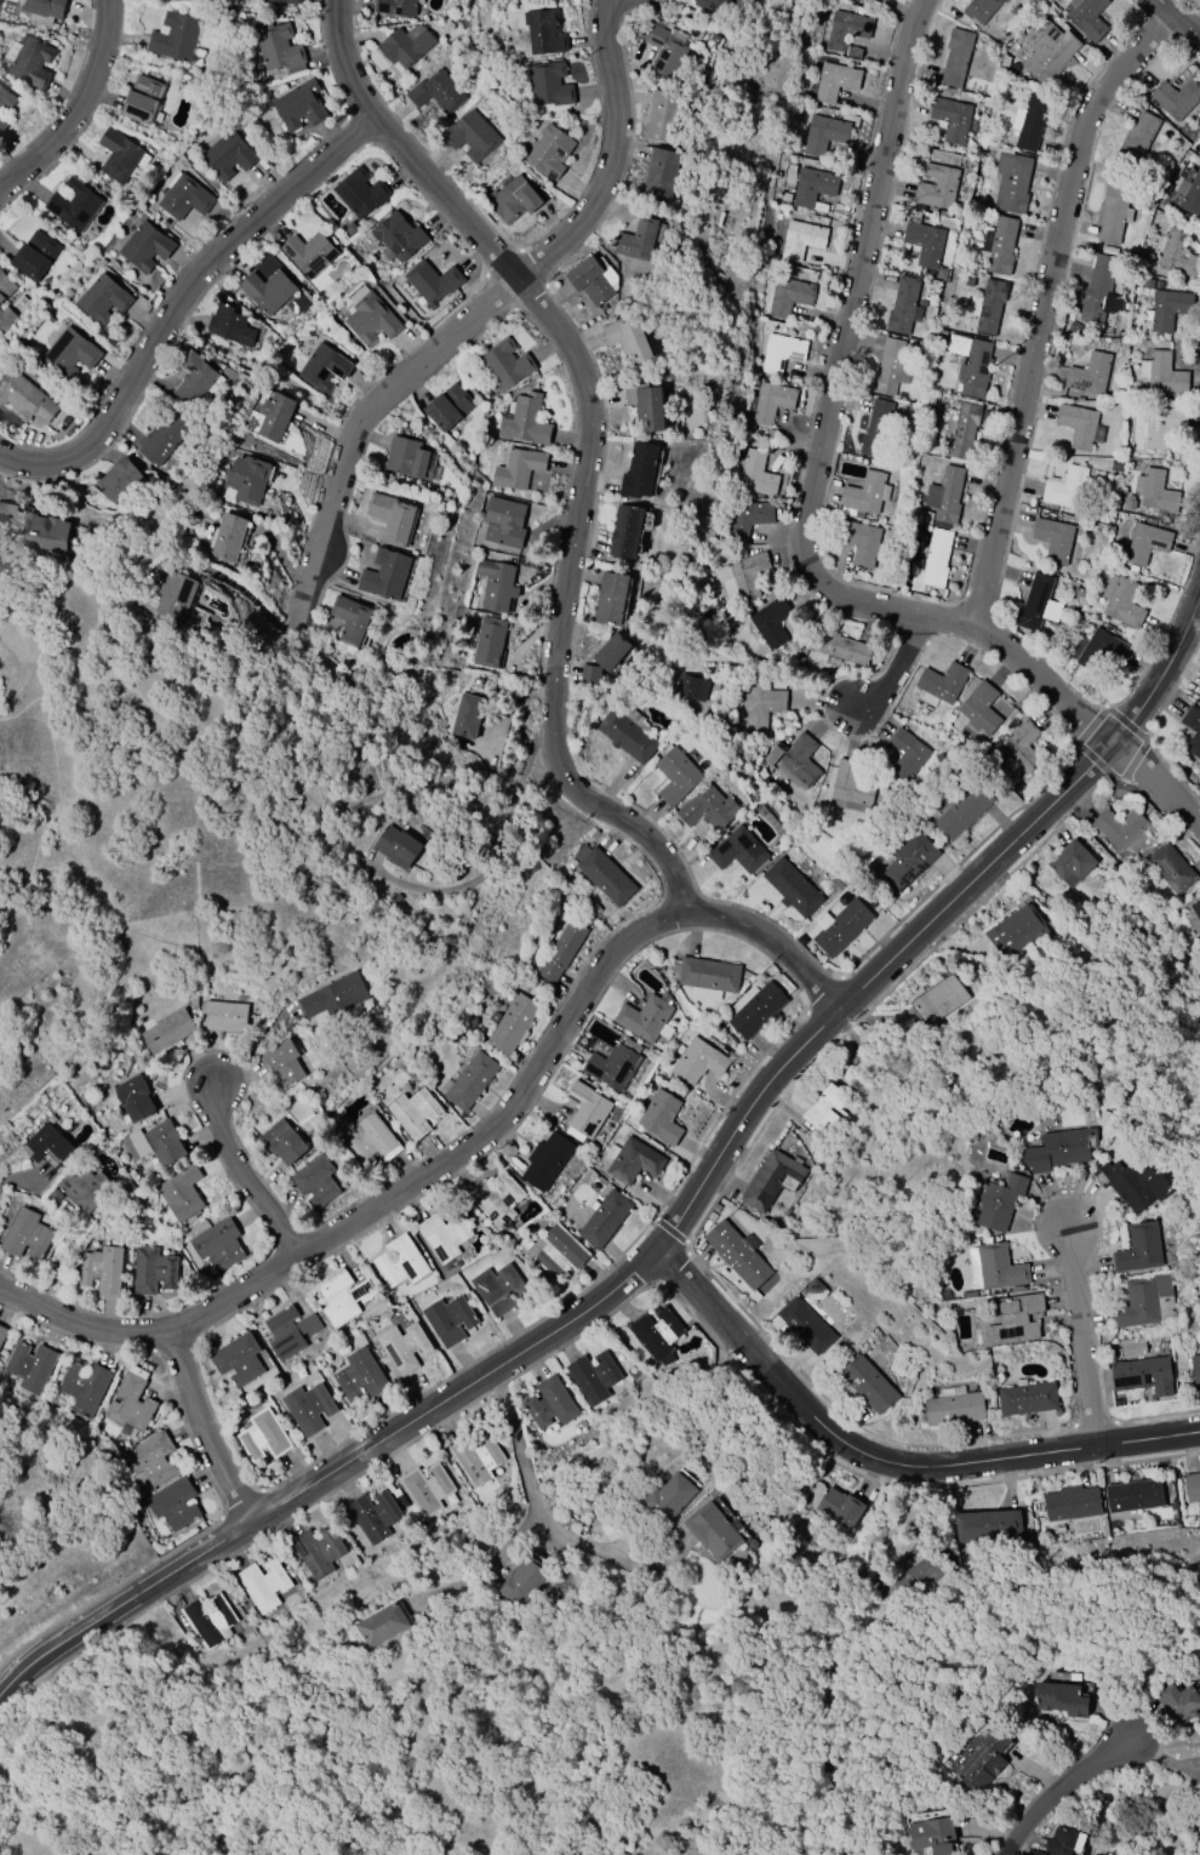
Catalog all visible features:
building: (286, 1)
building: (713, 5)
building: (395, 6)
building: (41, 10)
building: (979, 10)
building: (1086, 17)
road: (1178, 22)
building: (543, 32)
building: (846, 32)
building: (173, 36)
building: (404, 45)
building: (278, 47)
building: (664, 50)
building: (1048, 53)
building: (955, 57)
building: (28, 62)
building: (835, 81)
building: (549, 84)
building: (435, 91)
building: (1176, 98)
building: (142, 99)
building: (4, 105)
building: (298, 105)
road: (81, 109)
building: (663, 115)
building: (953, 119)
building: (1029, 121)
building: (823, 133)
building: (470, 136)
building: (1137, 138)
building: (549, 152)
building: (119, 154)
road: (612, 154)
building: (228, 155)
building: (661, 175)
building: (1011, 182)
building: (937, 187)
building: (812, 188)
building: (360, 193)
building: (1192, 195)
building: (185, 196)
building: (510, 199)
building: (988, 199)
building: (74, 205)
building: (1110, 215)
building: (396, 236)
building: (800, 239)
building: (636, 240)
building: (924, 244)
building: (999, 245)
building: (145, 246)
building: (308, 253)
building: (1177, 253)
building: (33, 255)
building: (592, 280)
building: (430, 282)
building: (5, 287)
building: (267, 291)
building: (1098, 291)
building: (788, 296)
building: (103, 299)
road: (184, 304)
building: (902, 306)
building: (987, 306)
road: (1042, 306)
building: (1166, 309)
building: (6, 318)
building: (370, 320)
building: (229, 326)
building: (629, 337)
building: (956, 346)
road: (844, 348)
building: (779, 352)
building: (69, 353)
building: (505, 364)
building: (322, 367)
building: (887, 367)
building: (975, 369)
building: (1161, 372)
building: (1087, 375)
building: (195, 378)
building: (25, 398)
building: (770, 401)
building: (647, 405)
building: (447, 407)
building: (274, 416)
building: (525, 421)
building: (1078, 426)
building: (1161, 426)
building: (875, 428)
building: (964, 429)
road: (353, 432)
building: (162, 438)
road: (588, 443)
building: (410, 460)
building: (1115, 467)
building: (518, 468)
building: (640, 472)
building: (755, 474)
building: (118, 479)
building: (247, 479)
building: (1064, 486)
building: (1153, 490)
building: (865, 493)
building: (944, 497)
building: (1128, 503)
building: (392, 515)
building: (919, 515)
building: (747, 518)
building: (503, 523)
building: (625, 531)
building: (44, 533)
building: (228, 536)
building: (1053, 538)
building: (862, 543)
building: (1145, 543)
building: (935, 558)
building: (384, 573)
building: (742, 576)
road: (225, 578)
building: (496, 583)
building: (1078, 592)
building: (176, 595)
building: (611, 598)
building: (1121, 600)
building: (1036, 603)
building: (350, 620)
building: (770, 622)
building: (488, 643)
building: (836, 646)
building: (1099, 650)
building: (611, 651)
road: (901, 666)
building: (589, 674)
building: (941, 683)
building: (690, 687)
building: (1199, 690)
building: (760, 706)
road: (1073, 707)
building: (981, 708)
building: (467, 715)
building: (1192, 731)
building: (625, 736)
building: (1018, 747)
building: (905, 755)
building: (799, 761)
building: (675, 776)
building: (1016, 787)
building: (850, 788)
building: (707, 807)
building: (962, 811)
building: (1119, 827)
building: (396, 846)
road: (497, 850)
building: (737, 850)
building: (908, 861)
building: (1069, 862)
building: (1171, 868)
building: (602, 875)
building: (790, 886)
building: (1195, 919)
building: (840, 926)
building: (1011, 929)
road: (772, 942)
building: (560, 951)
building: (704, 976)
building: (333, 997)
building: (937, 1000)
building: (192, 1001)
building: (755, 1009)
building: (222, 1016)
building: (645, 1018)
building: (469, 1021)
building: (510, 1023)
building: (167, 1032)
building: (699, 1061)
building: (281, 1062)
building: (613, 1065)
building: (468, 1080)
building: (130, 1097)
building: (825, 1111)
building: (587, 1112)
building: (412, 1113)
building: (662, 1118)
building: (281, 1141)
building: (164, 1142)
building: (371, 1142)
building: (48, 1146)
building: (1059, 1148)
building: (545, 1159)
building: (632, 1161)
road: (244, 1175)
building: (772, 1180)
building: (315, 1181)
building: (1132, 1182)
building: (127, 1186)
building: (85, 1188)
building: (182, 1192)
building: (495, 1198)
road: (382, 1200)
building: (998, 1202)
building: (604, 1217)
road: (676, 1225)
building: (24, 1233)
building: (442, 1234)
building: (217, 1244)
building: (1139, 1249)
building: (559, 1251)
building: (736, 1251)
building: (399, 1261)
building: (994, 1267)
building: (99, 1269)
building: (152, 1271)
building: (498, 1288)
building: (813, 1288)
building: (341, 1297)
building: (1144, 1302)
building: (447, 1320)
building: (1013, 1320)
road: (588, 1325)
building: (806, 1325)
building: (2, 1331)
building: (287, 1331)
building: (656, 1331)
road: (1084, 1339)
building: (402, 1347)
building: (238, 1359)
building: (29, 1366)
building: (1195, 1369)
building: (1144, 1375)
building: (358, 1376)
building: (593, 1376)
building: (868, 1385)
building: (84, 1387)
building: (1025, 1398)
building: (130, 1404)
building: (548, 1404)
building: (954, 1406)
building: (307, 1408)
road: (206, 1431)
building: (262, 1437)
building: (475, 1457)
building: (152, 1459)
road: (888, 1461)
building: (1199, 1469)
building: (1193, 1486)
building: (425, 1489)
road: (530, 1489)
building: (1133, 1496)
building: (667, 1499)
building: (172, 1503)
building: (1069, 1503)
building: (840, 1508)
building: (372, 1516)
building: (985, 1525)
building: (713, 1530)
building: (316, 1551)
road: (486, 1568)
building: (918, 1574)
building: (262, 1582)
building: (522, 1583)
building: (207, 1619)
building: (381, 1625)
building: (1059, 1699)
building: (1179, 1701)
building: (982, 1762)
road: (1063, 1790)
building: (931, 1837)
building: (1062, 1840)
building: (1038, 1853)

